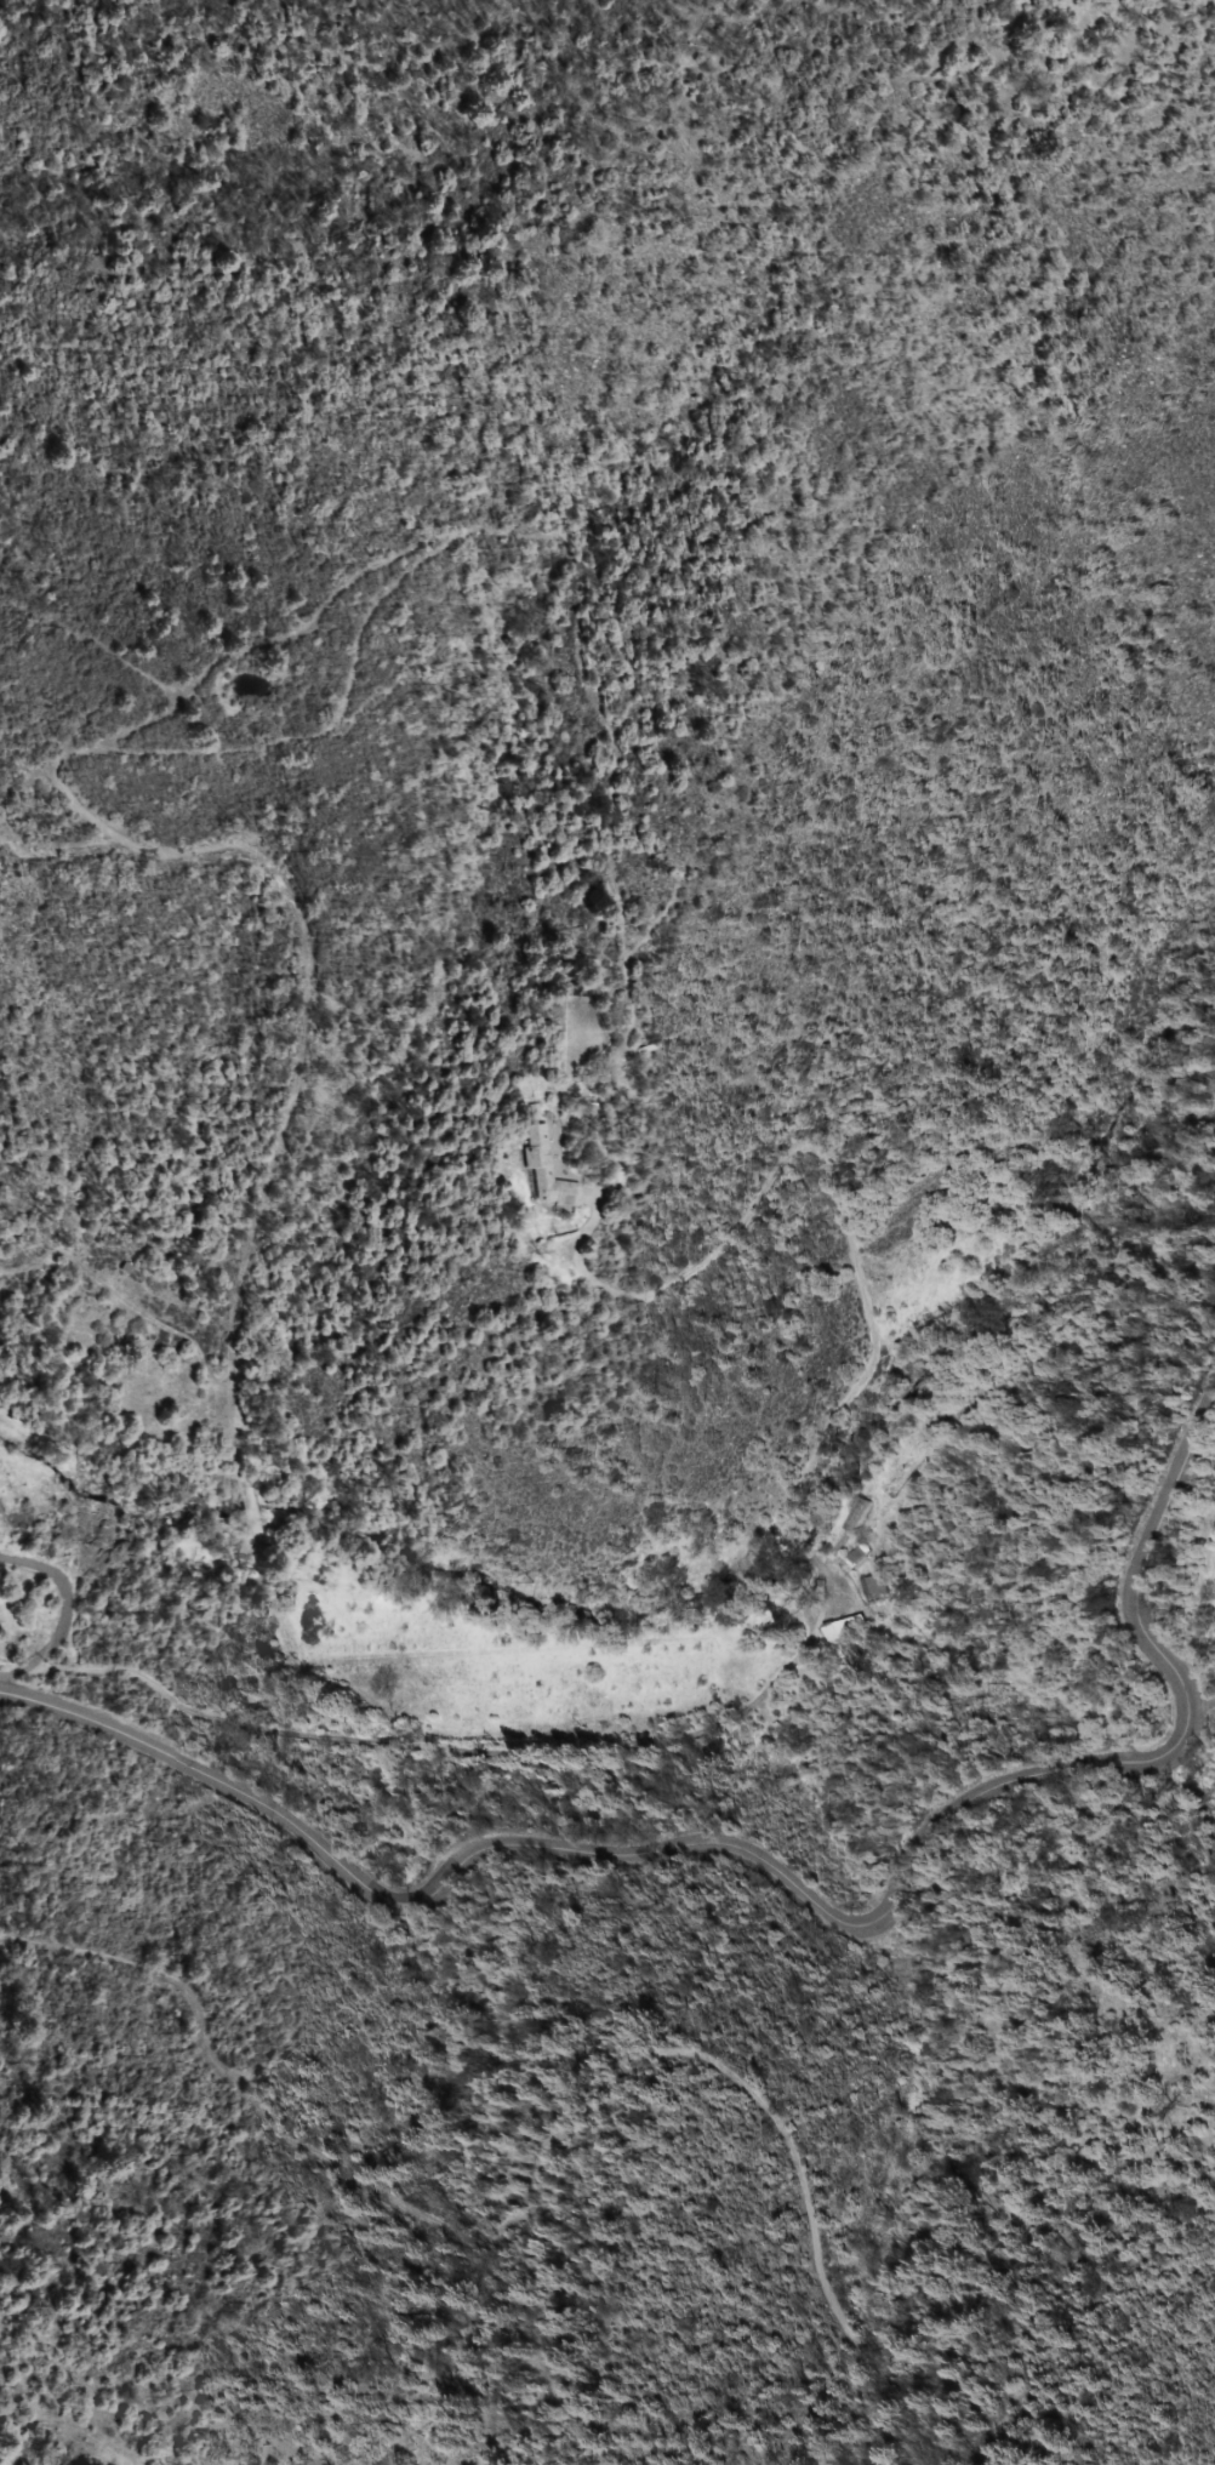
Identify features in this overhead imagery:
building: (546, 1169)
road: (798, 1896)

